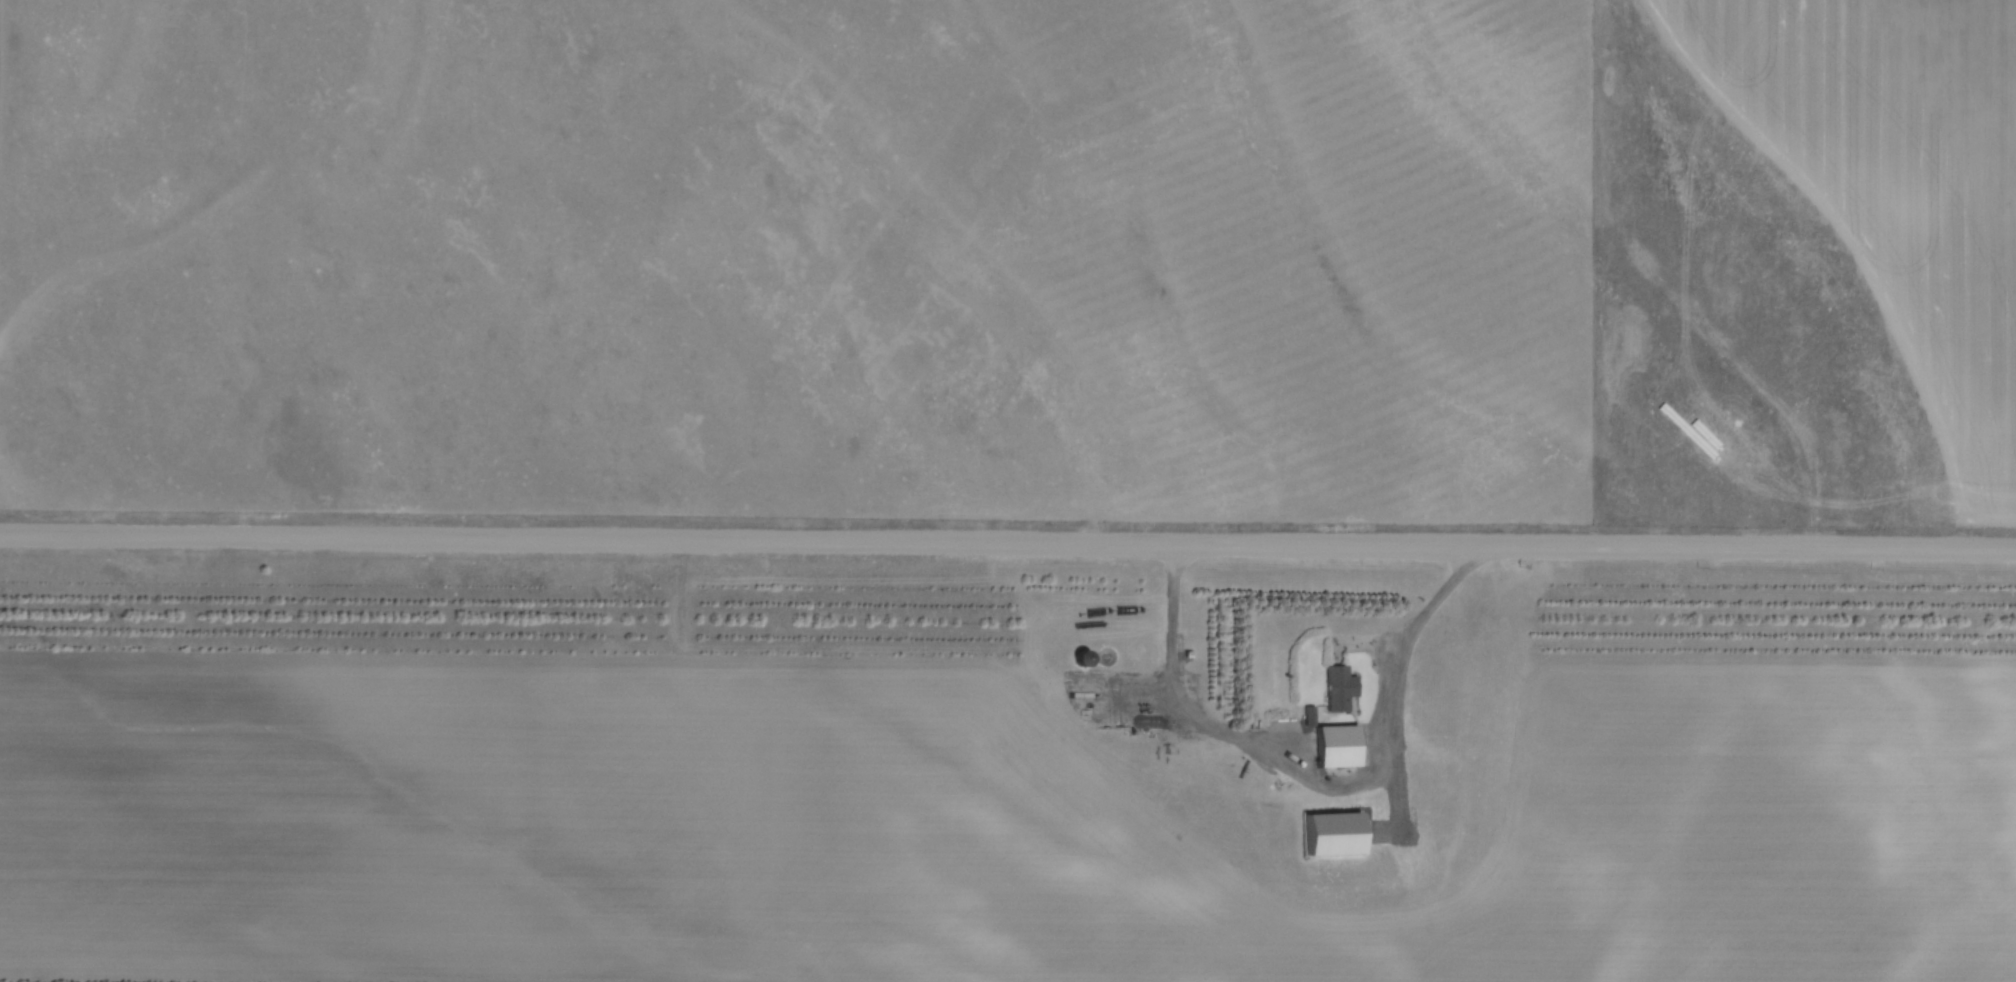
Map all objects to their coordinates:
crop: (1902, 177)
crop: (801, 257)
road: (1007, 542)
building: (1083, 658)
silo: (1083, 658)
building: (1341, 688)
building: (1340, 744)
road: (1337, 784)
building: (1339, 831)
crop: (959, 834)

